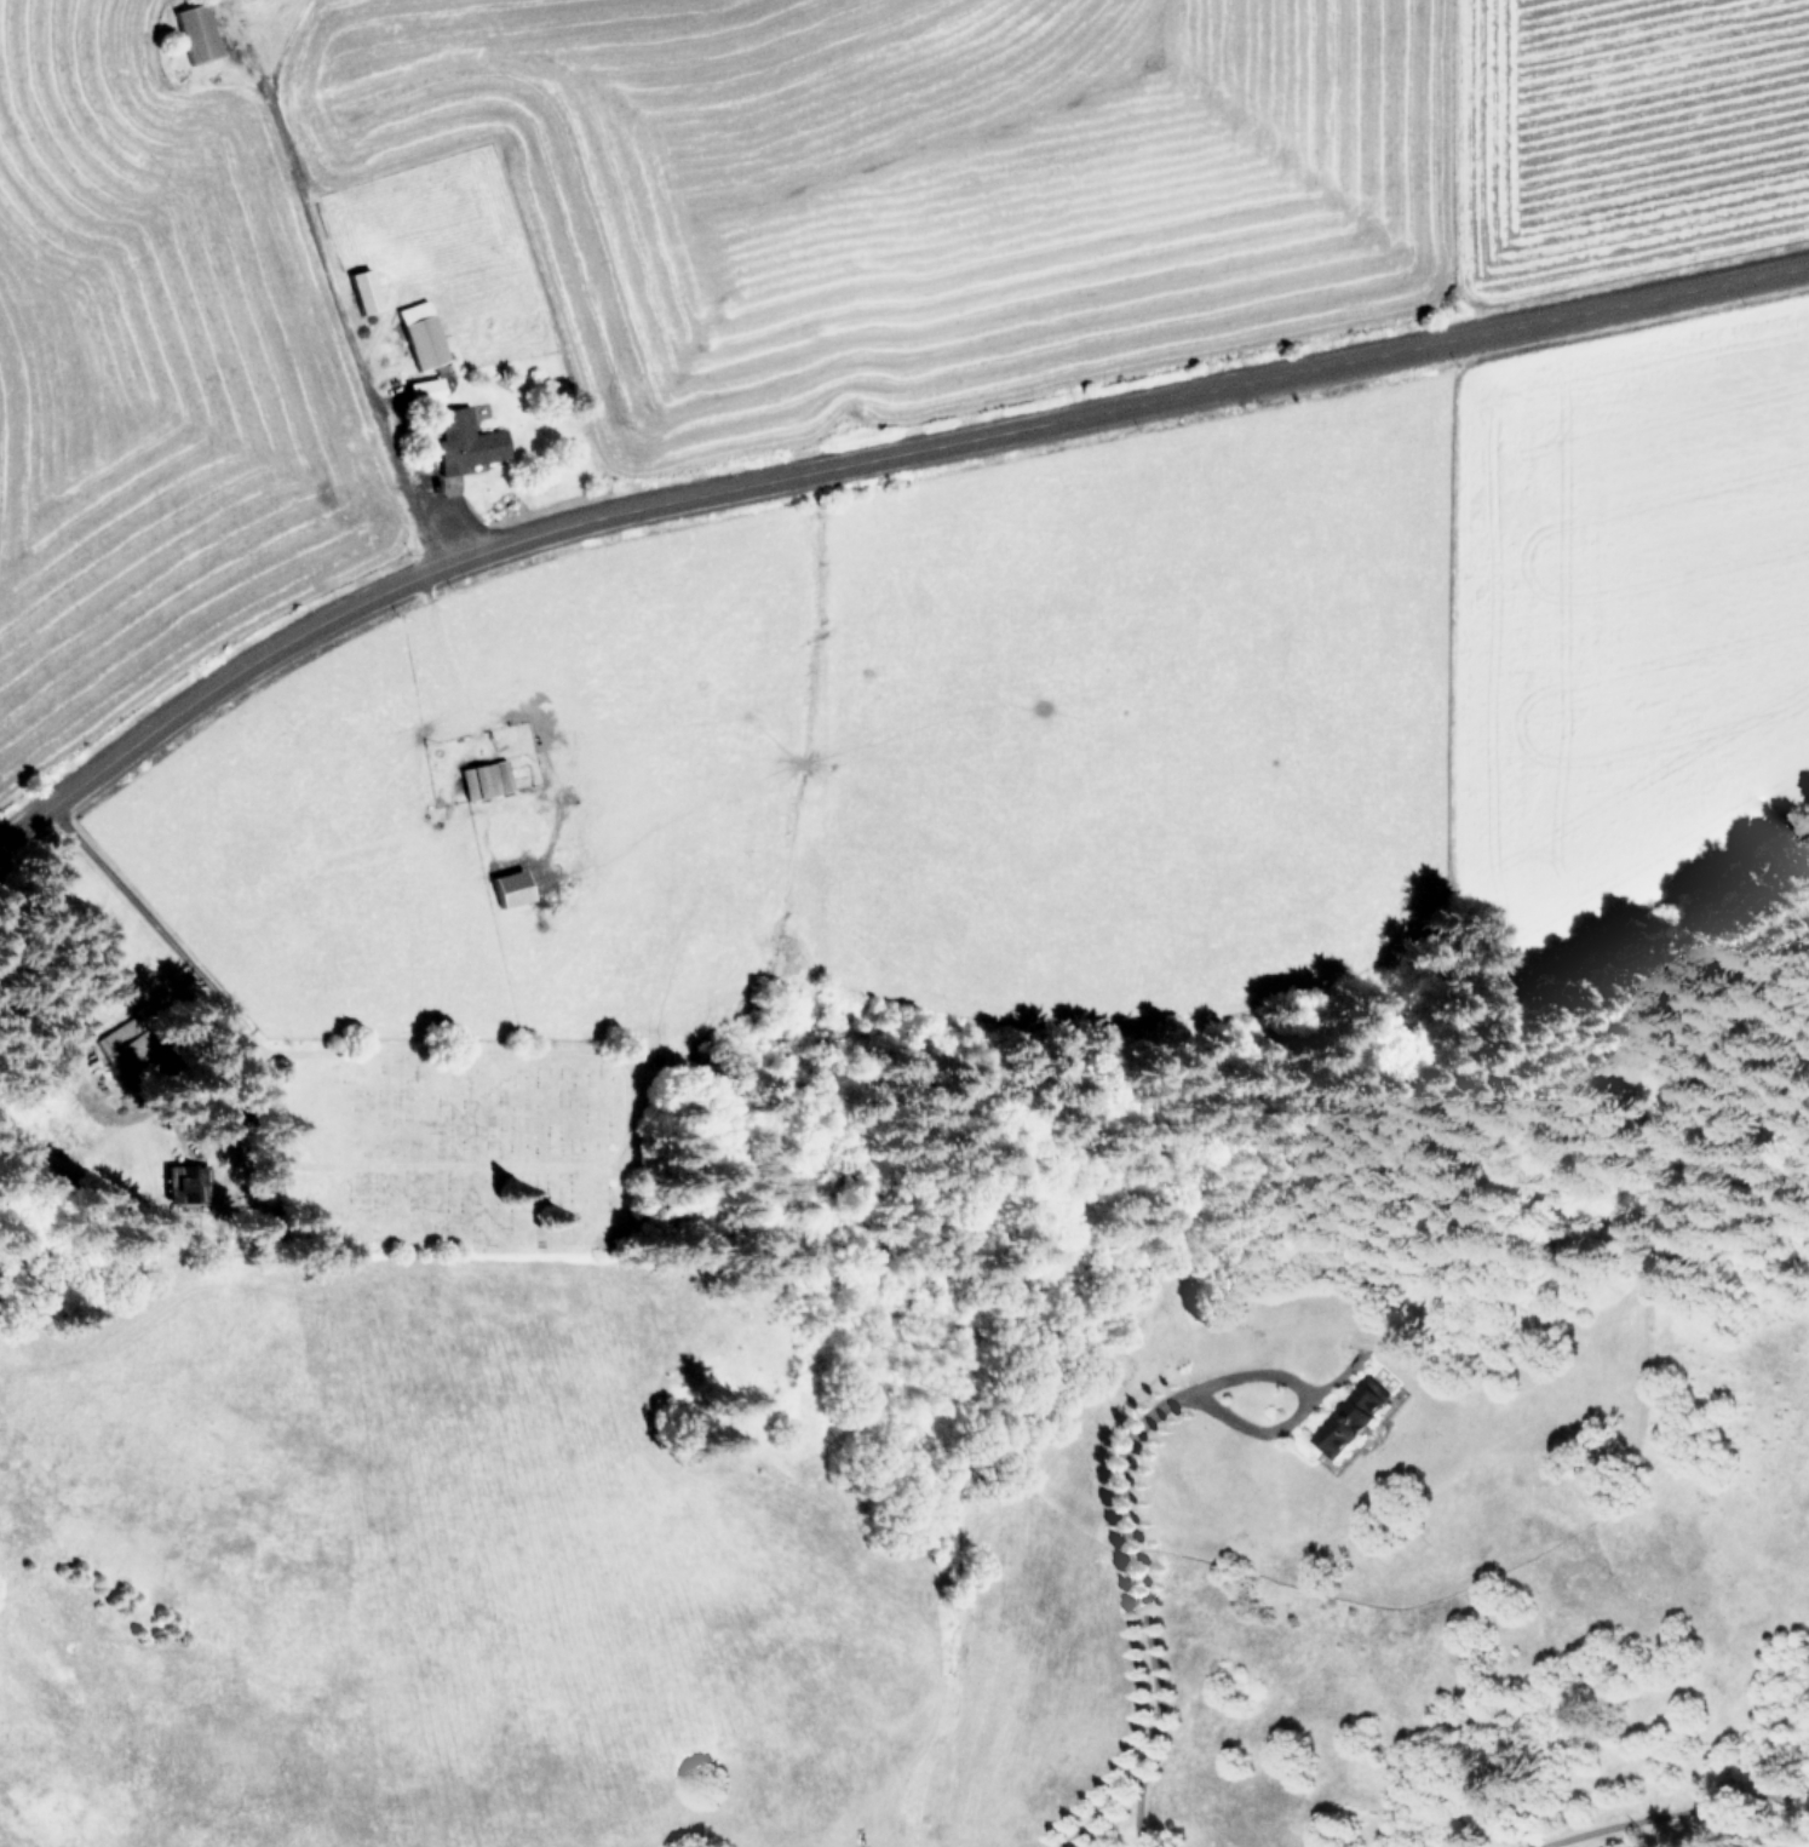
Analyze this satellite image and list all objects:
building: (197, 34)
road: (326, 281)
building: (364, 288)
building: (421, 333)
building: (426, 389)
building: (466, 444)
road: (867, 447)
road: (443, 653)
building: (486, 778)
crop: (858, 883)
building: (511, 887)
road: (145, 919)
building: (186, 1178)
building: (1350, 1421)

